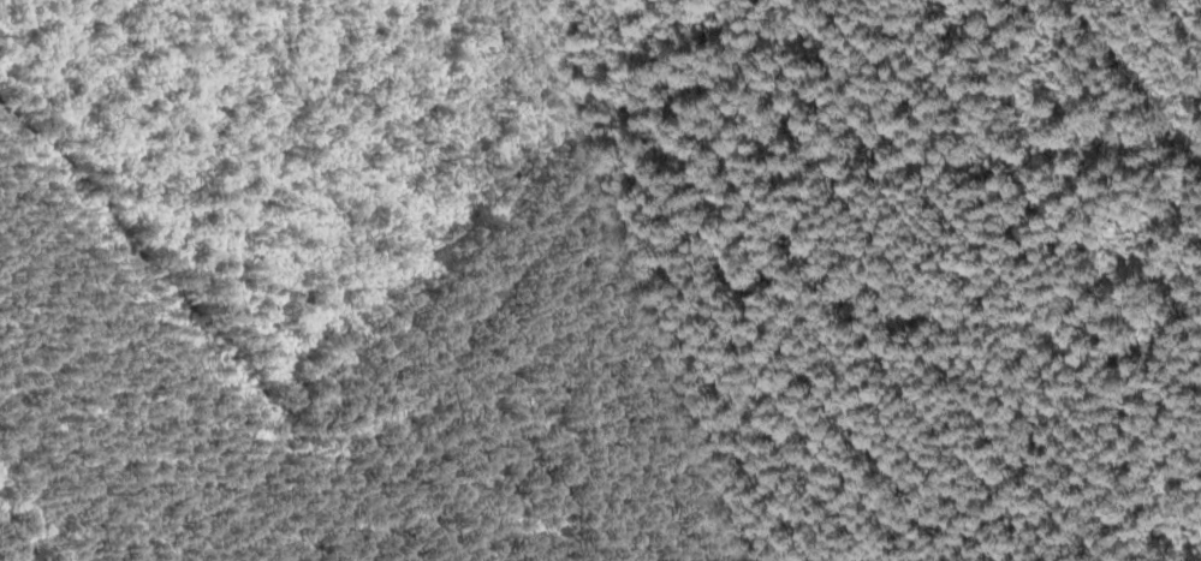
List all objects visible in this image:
road: (20, 533)

